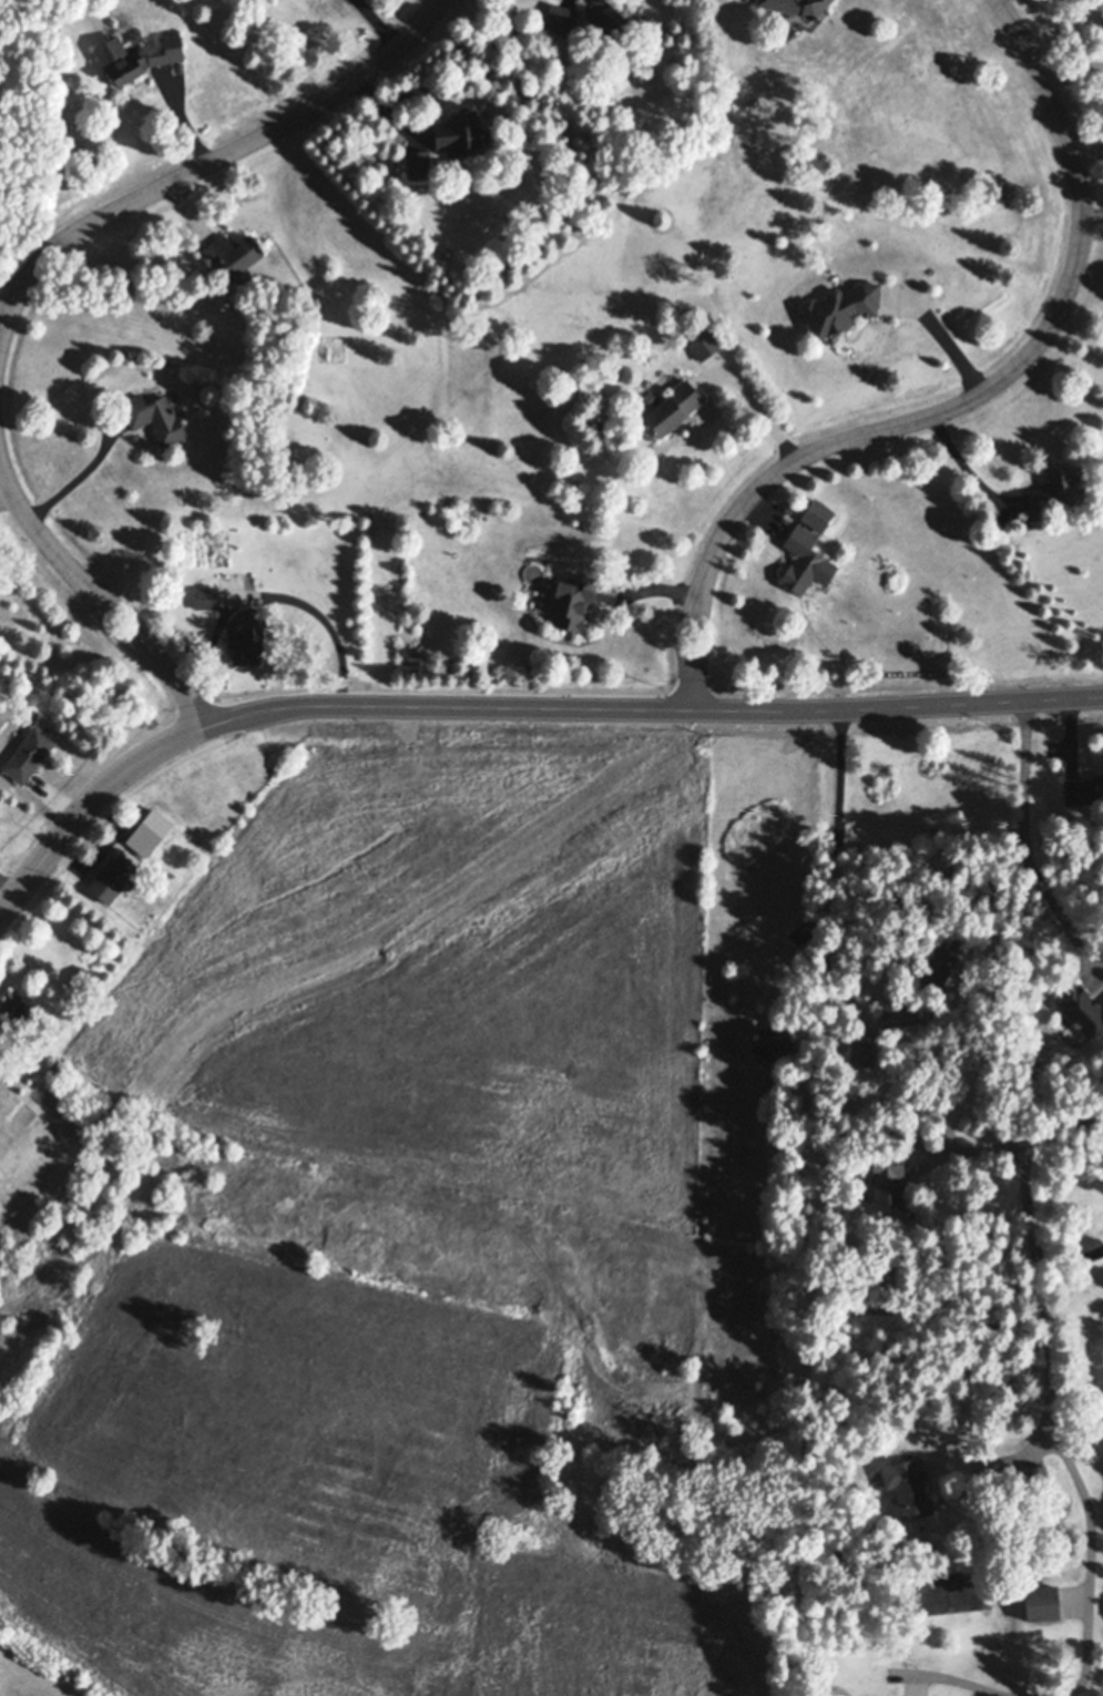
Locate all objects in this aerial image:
building: (796, 6)
building: (560, 17)
building: (615, 17)
building: (779, 21)
road: (378, 23)
building: (136, 54)
building: (460, 131)
building: (418, 163)
road: (208, 165)
building: (231, 252)
building: (841, 306)
road: (4, 315)
road: (943, 339)
road: (964, 402)
building: (671, 407)
road: (760, 412)
building: (154, 417)
road: (72, 471)
building: (1054, 490)
building: (817, 514)
building: (800, 558)
road: (280, 594)
building: (206, 596)
road: (98, 597)
building: (572, 601)
building: (245, 637)
road: (655, 716)
building: (29, 754)
building: (1083, 790)
road: (89, 805)
building: (953, 829)
building: (149, 832)
road: (1032, 847)
building: (113, 878)
road: (823, 882)
building: (940, 966)
building: (85, 981)
building: (1080, 1009)
building: (13, 1012)
building: (920, 1012)
building: (772, 1048)
building: (864, 1050)
road: (974, 1148)
building: (885, 1182)
road: (1034, 1194)
road: (1000, 1464)
building: (1039, 1477)
building: (906, 1486)
road: (1097, 1552)
building: (1041, 1603)

